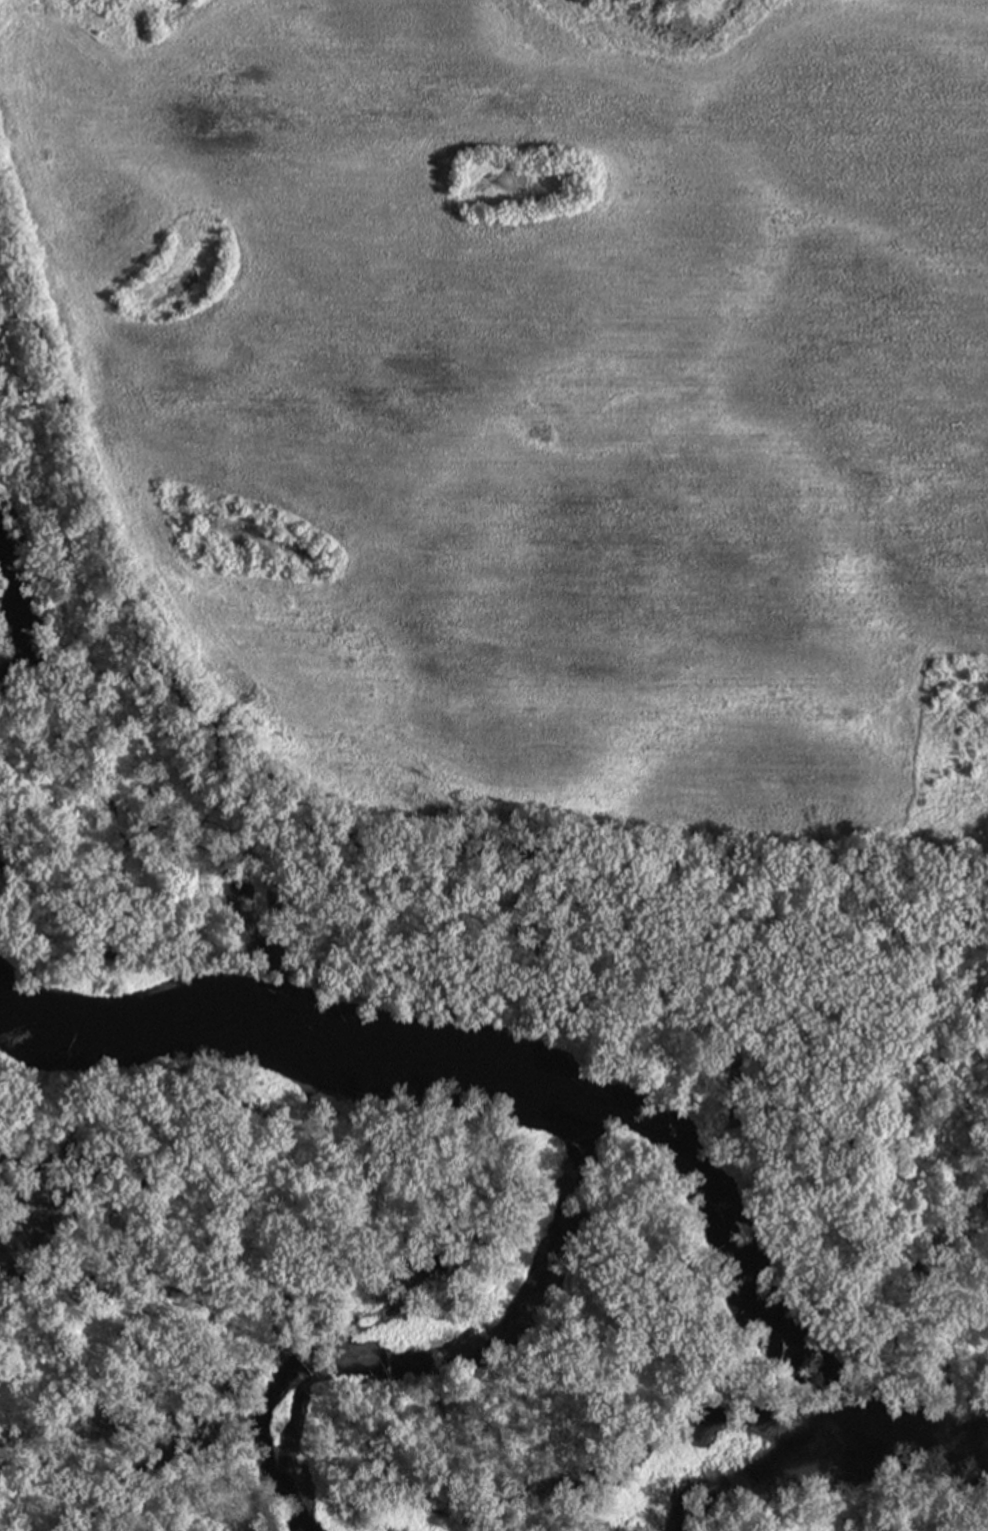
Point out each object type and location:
river: (535, 1107)
river: (801, 1439)

